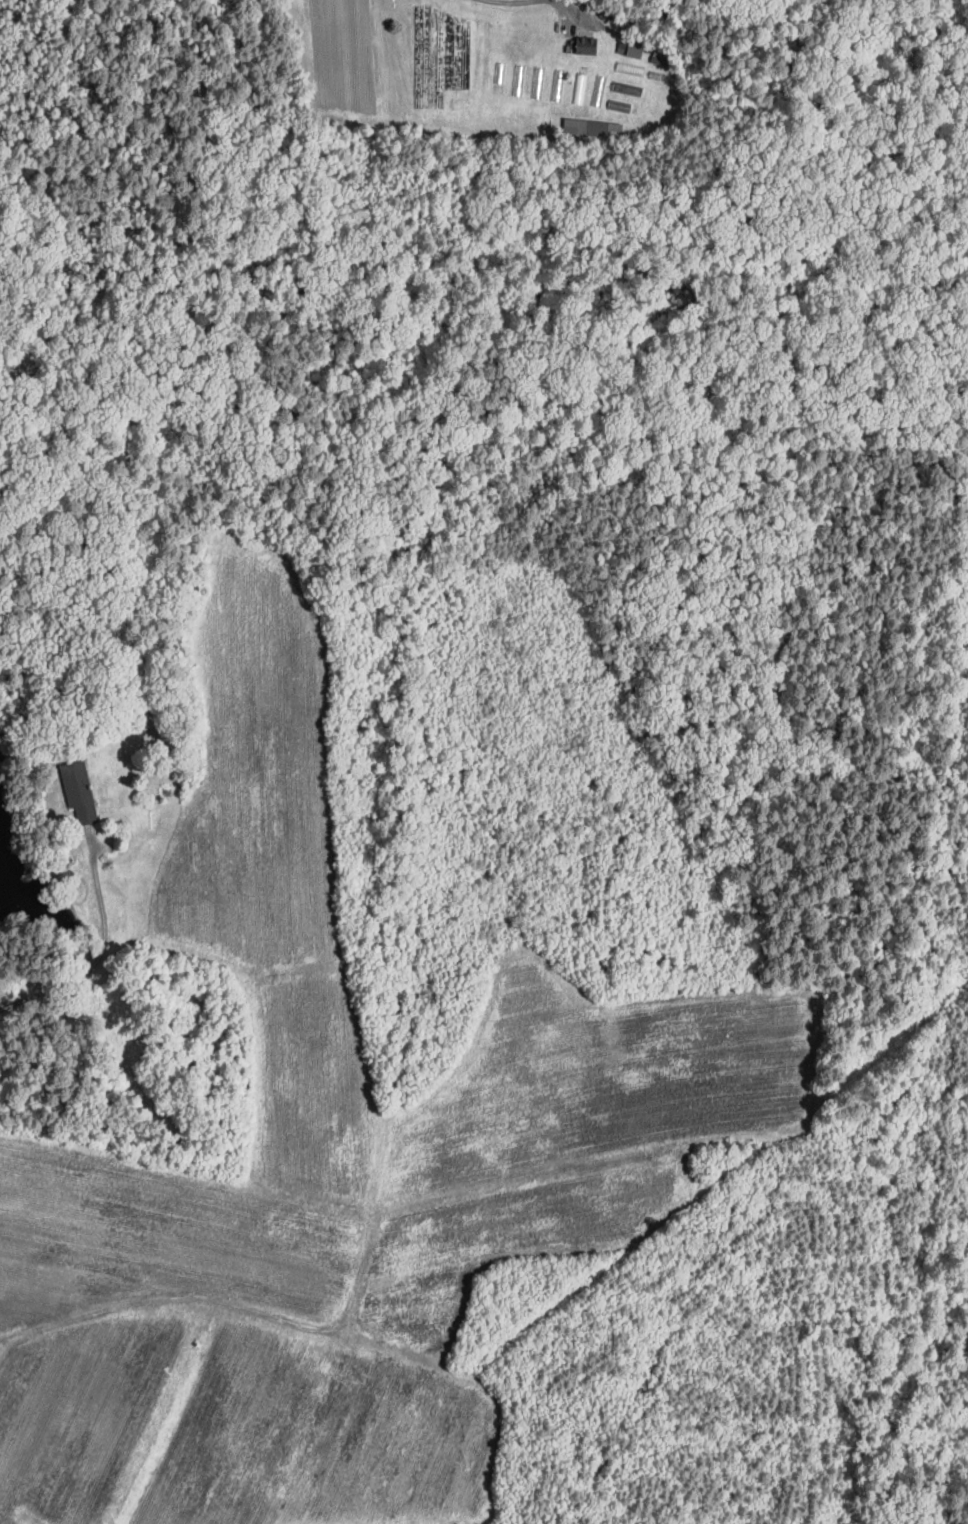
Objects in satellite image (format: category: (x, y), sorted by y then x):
road: (508, 0)
road: (562, 2)
building: (590, 45)
building: (633, 46)
building: (622, 86)
building: (589, 127)
building: (82, 791)
road: (102, 953)

